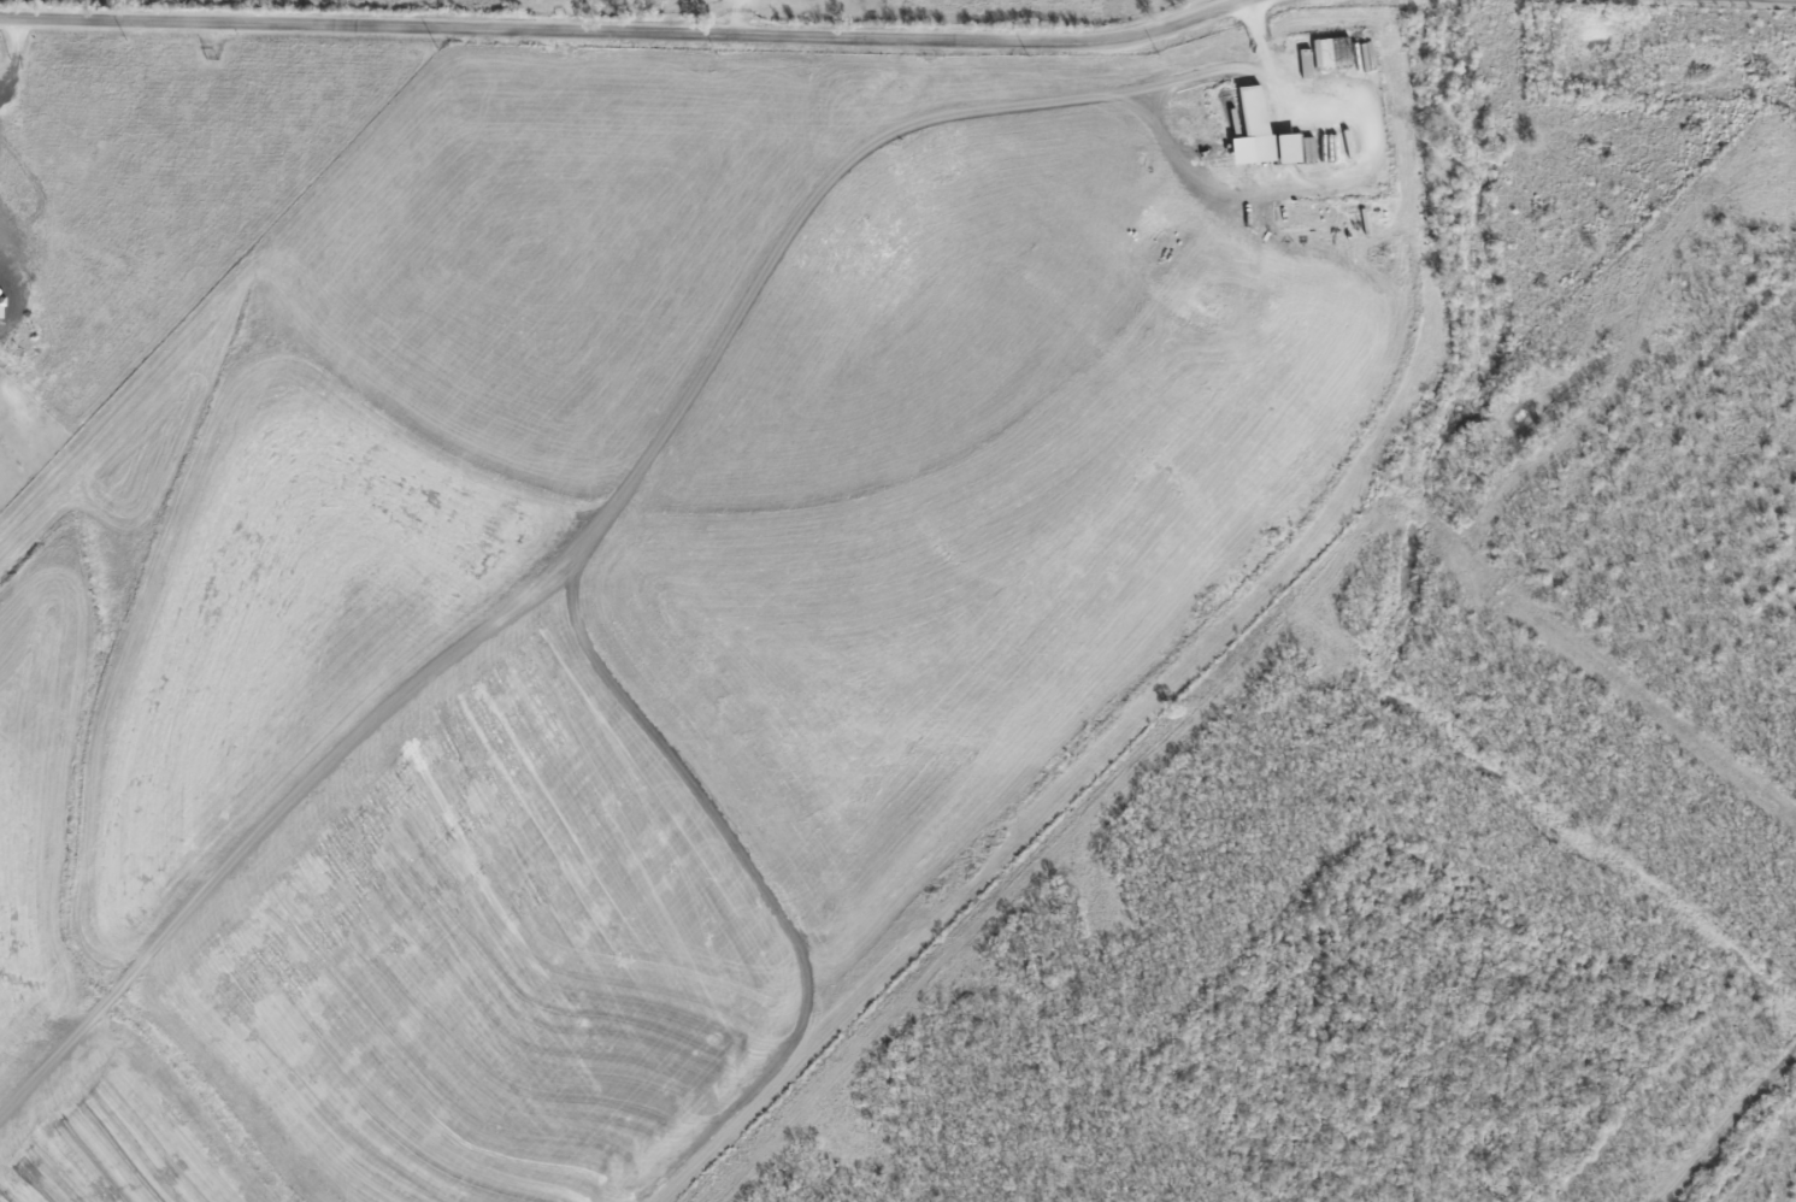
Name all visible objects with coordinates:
road: (626, 33)
road: (1258, 35)
road: (18, 51)
building: (1330, 51)
building: (1249, 128)
building: (1285, 148)

